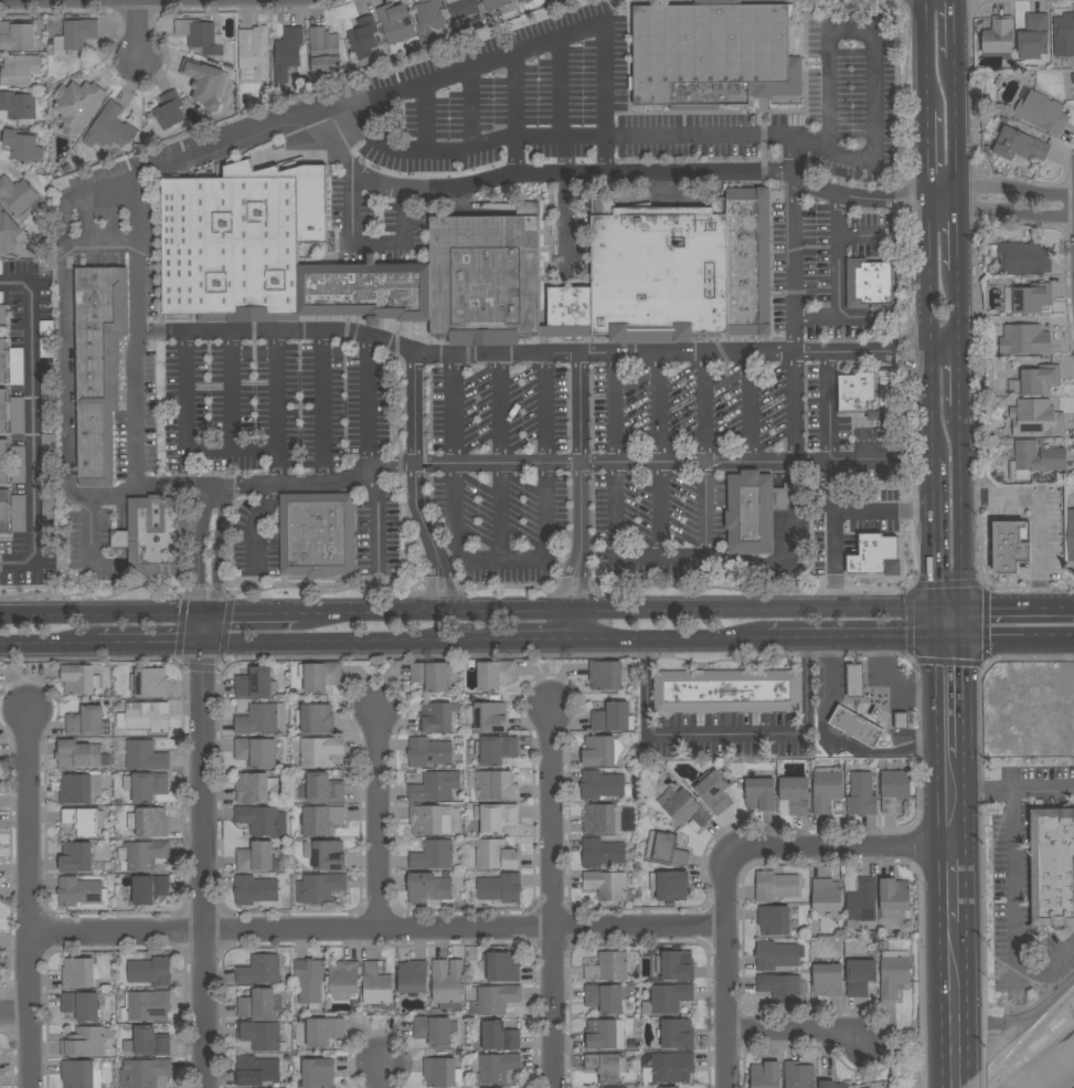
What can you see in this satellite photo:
building: (522, 1)
building: (539, 2)
building: (495, 4)
building: (462, 8)
road: (60, 11)
road: (132, 11)
road: (246, 12)
building: (429, 19)
building: (395, 23)
road: (957, 27)
road: (138, 31)
building: (18, 35)
building: (74, 35)
building: (199, 35)
building: (363, 35)
building: (998, 35)
building: (1063, 35)
building: (1033, 38)
building: (323, 50)
building: (287, 53)
building: (711, 54)
road: (876, 55)
building: (252, 56)
road: (924, 56)
road: (508, 57)
building: (18, 71)
building: (204, 83)
road: (137, 86)
road: (557, 91)
road: (513, 98)
building: (19, 106)
building: (77, 106)
road: (468, 109)
building: (1041, 112)
building: (170, 113)
road: (424, 118)
road: (958, 122)
building: (108, 130)
road: (343, 133)
road: (560, 139)
road: (702, 139)
building: (1019, 145)
building: (23, 147)
road: (422, 151)
road: (606, 157)
road: (514, 158)
road: (796, 159)
road: (925, 163)
road: (655, 173)
road: (145, 176)
road: (1038, 183)
road: (1000, 187)
road: (791, 194)
building: (19, 197)
building: (0, 209)
road: (1001, 210)
building: (3, 226)
road: (960, 231)
road: (861, 234)
road: (366, 246)
building: (231, 249)
road: (1064, 252)
building: (1021, 257)
building: (747, 261)
building: (1, 267)
building: (658, 272)
building: (485, 277)
road: (837, 278)
building: (868, 283)
building: (366, 291)
building: (1031, 298)
building: (570, 307)
building: (2, 311)
road: (961, 313)
road: (859, 317)
building: (565, 331)
road: (204, 332)
road: (345, 332)
road: (975, 334)
road: (927, 336)
building: (46, 339)
building: (1024, 340)
road: (65, 348)
road: (755, 350)
road: (945, 350)
road: (446, 355)
building: (3, 361)
building: (15, 367)
building: (98, 368)
road: (963, 379)
building: (1035, 381)
building: (46, 385)
building: (869, 392)
road: (366, 404)
road: (705, 405)
road: (322, 406)
road: (659, 406)
road: (752, 406)
road: (794, 406)
road: (273, 408)
road: (498, 408)
road: (543, 408)
road: (448, 409)
building: (3, 412)
road: (185, 412)
road: (227, 413)
building: (17, 415)
building: (1036, 419)
road: (31, 424)
building: (47, 452)
road: (854, 458)
building: (1034, 460)
road: (583, 461)
building: (3, 462)
road: (421, 463)
road: (645, 463)
road: (827, 463)
building: (18, 464)
road: (187, 469)
road: (931, 477)
road: (318, 482)
building: (49, 500)
road: (965, 509)
road: (660, 511)
building: (756, 511)
building: (4, 513)
road: (500, 513)
building: (18, 514)
road: (1038, 518)
road: (374, 524)
road: (253, 526)
building: (158, 535)
building: (317, 535)
building: (1070, 535)
building: (120, 539)
road: (87, 543)
road: (201, 543)
road: (215, 543)
building: (1011, 546)
road: (615, 551)
building: (872, 551)
road: (932, 552)
road: (502, 562)
road: (769, 568)
road: (567, 580)
road: (578, 582)
road: (985, 585)
road: (177, 588)
road: (206, 592)
road: (862, 592)
road: (85, 593)
road: (195, 593)
road: (217, 593)
road: (205, 606)
road: (1019, 610)
traffic signals: (933, 612)
road: (949, 612)
traffic signals: (966, 612)
road: (615, 613)
road: (571, 616)
road: (102, 619)
road: (251, 619)
traffic signals: (235, 620)
traffic signals: (204, 621)
road: (933, 626)
road: (966, 626)
road: (670, 640)
road: (868, 640)
road: (1020, 640)
traffic signals: (934, 641)
traffic signals: (967, 641)
road: (518, 642)
road: (336, 644)
traffic signals: (205, 645)
road: (151, 646)
traffic signals: (172, 646)
road: (49, 647)
road: (881, 659)
road: (200, 665)
traffic signals: (204, 673)
building: (430, 675)
building: (495, 675)
building: (605, 675)
building: (321, 676)
road: (887, 678)
building: (79, 679)
road: (839, 679)
building: (854, 679)
road: (854, 679)
building: (149, 683)
building: (256, 684)
building: (727, 691)
road: (906, 691)
road: (968, 698)
gas station: (865, 707)
building: (148, 717)
building: (437, 717)
building: (488, 717)
building: (614, 717)
building: (262, 719)
building: (316, 719)
building: (901, 720)
road: (901, 720)
building: (86, 721)
road: (819, 726)
building: (855, 726)
road: (724, 735)
building: (496, 749)
building: (319, 751)
building: (600, 751)
building: (256, 752)
building: (428, 752)
road: (906, 752)
building: (79, 756)
building: (145, 756)
building: (600, 785)
building: (146, 786)
building: (435, 786)
building: (493, 786)
building: (78, 788)
building: (255, 788)
building: (894, 788)
building: (323, 789)
building: (714, 791)
building: (826, 791)
road: (1021, 791)
building: (761, 794)
building: (861, 795)
building: (794, 796)
road: (969, 801)
building: (682, 807)
road: (380, 817)
building: (496, 817)
building: (605, 818)
building: (262, 820)
building: (320, 820)
building: (426, 820)
building: (84, 821)
building: (149, 822)
road: (849, 846)
building: (664, 848)
building: (603, 853)
road: (204, 854)
building: (326, 854)
building: (142, 855)
building: (496, 855)
building: (433, 856)
building: (76, 857)
building: (256, 857)
road: (937, 864)
building: (1052, 866)
road: (971, 883)
building: (606, 885)
building: (669, 885)
building: (776, 886)
building: (320, 887)
building: (428, 888)
building: (499, 888)
building: (149, 889)
building: (255, 890)
building: (78, 891)
building: (827, 895)
road: (552, 896)
road: (29, 898)
building: (895, 900)
building: (862, 902)
building: (774, 920)
road: (1012, 923)
road: (378, 930)
building: (776, 957)
building: (676, 965)
building: (501, 966)
building: (608, 968)
building: (259, 970)
road: (726, 971)
building: (151, 972)
building: (79, 973)
building: (894, 973)
building: (413, 976)
building: (860, 976)
building: (828, 980)
building: (309, 981)
building: (344, 981)
building: (447, 983)
building: (378, 987)
building: (784, 989)
road: (975, 993)
building: (604, 999)
building: (668, 999)
building: (497, 1000)
building: (257, 1004)
building: (82, 1005)
building: (149, 1006)
building: (435, 1012)
road: (14, 1014)
road: (1030, 1014)
building: (433, 1031)
building: (325, 1032)
road: (799, 1032)
building: (677, 1034)
building: (259, 1035)
building: (604, 1035)
building: (499, 1036)
building: (86, 1042)
road: (1029, 1042)
building: (148, 1043)
building: (606, 1065)
building: (672, 1067)
building: (495, 1068)
building: (256, 1070)
building: (143, 1073)
building: (318, 1073)
building: (442, 1073)
building: (77, 1074)
road: (381, 1075)
building: (766, 1075)
building: (799, 1075)
road: (977, 1076)
building: (832, 1085)
road: (939, 1086)
building: (619, 1087)
building: (672, 1087)

